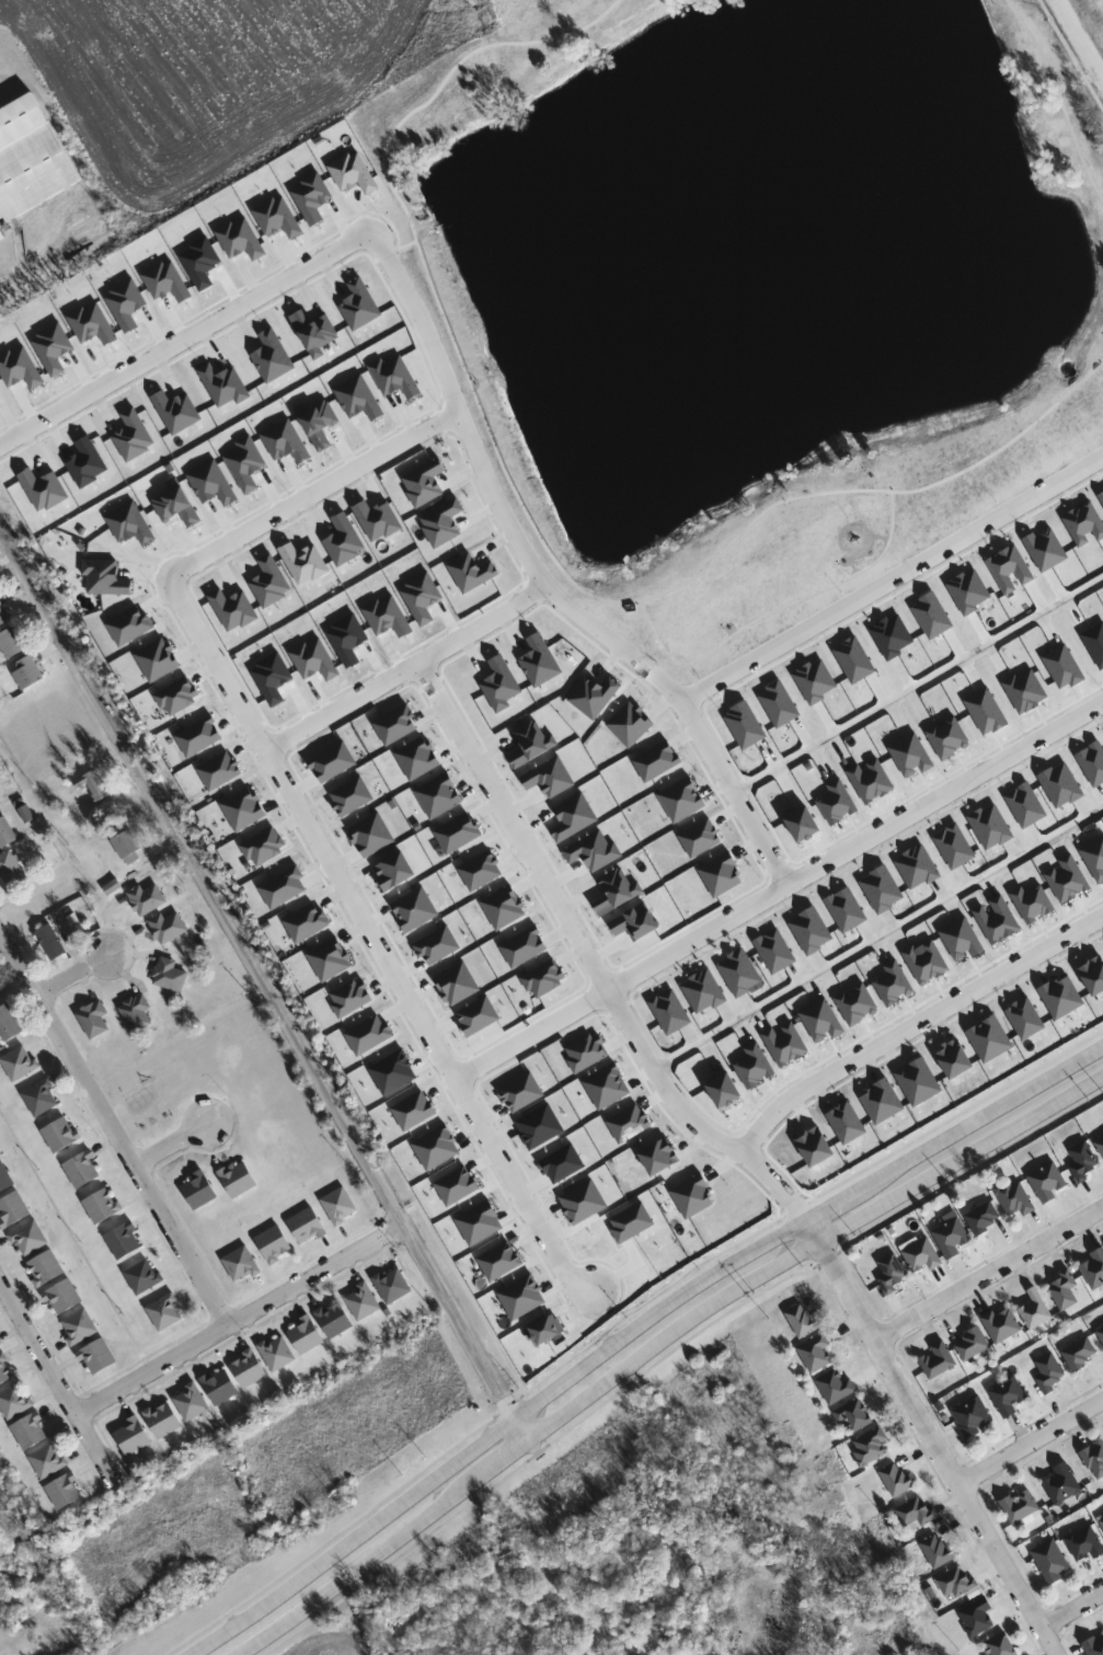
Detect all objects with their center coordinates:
road: (1083, 34)
road: (1059, 97)
building: (795, 148)
building: (31, 162)
road: (53, 269)
road: (399, 275)
road: (1100, 369)
road: (529, 517)
road: (893, 576)
road: (771, 610)
building: (3, 616)
building: (12, 644)
road: (407, 669)
building: (27, 674)
road: (693, 677)
road: (919, 685)
road: (723, 772)
building: (93, 785)
road: (289, 791)
building: (7, 834)
building: (127, 847)
building: (11, 872)
road: (778, 889)
building: (148, 899)
building: (168, 928)
road: (878, 938)
building: (51, 943)
road: (78, 974)
building: (170, 976)
road: (263, 984)
building: (0, 997)
building: (137, 1013)
building: (94, 1020)
road: (625, 1020)
road: (914, 1022)
building: (9, 1025)
building: (20, 1064)
building: (41, 1099)
road: (114, 1128)
building: (60, 1136)
road: (175, 1142)
building: (1100, 1145)
building: (1083, 1161)
building: (82, 1169)
building: (4, 1180)
building: (239, 1180)
building: (1048, 1182)
building: (199, 1191)
building: (1015, 1198)
building: (102, 1206)
building: (340, 1206)
building: (13, 1210)
building: (983, 1218)
building: (308, 1227)
building: (951, 1234)
building: (30, 1240)
building: (124, 1242)
building: (275, 1244)
building: (922, 1256)
building: (241, 1265)
building: (46, 1269)
building: (1094, 1269)
building: (892, 1273)
road: (989, 1273)
building: (143, 1277)
building: (393, 1286)
building: (1065, 1290)
building: (64, 1298)
building: (363, 1302)
building: (1036, 1309)
building: (165, 1313)
road: (239, 1320)
building: (335, 1320)
building: (803, 1321)
building: (1003, 1325)
building: (79, 1328)
road: (633, 1330)
building: (1101, 1334)
building: (306, 1336)
road: (655, 1344)
building: (972, 1344)
building: (277, 1354)
building: (816, 1354)
building: (1081, 1355)
building: (97, 1357)
building: (939, 1360)
building: (249, 1370)
building: (5, 1371)
building: (1050, 1374)
road: (58, 1387)
building: (220, 1387)
building: (836, 1387)
building: (1009, 1397)
building: (14, 1402)
building: (191, 1403)
road: (918, 1411)
building: (853, 1416)
building: (973, 1416)
building: (163, 1421)
building: (31, 1433)
building: (134, 1437)
road: (1031, 1440)
building: (871, 1447)
building: (1095, 1460)
building: (49, 1462)
building: (896, 1480)
building: (1064, 1485)
building: (65, 1494)
building: (1021, 1507)
building: (917, 1513)
building: (1102, 1521)
building: (1085, 1543)
building: (939, 1551)
building: (514, 1560)
building: (1053, 1561)
road: (1009, 1568)
building: (957, 1582)
road: (1072, 1608)
building: (978, 1617)
building: (1000, 1645)
building: (1095, 1645)

